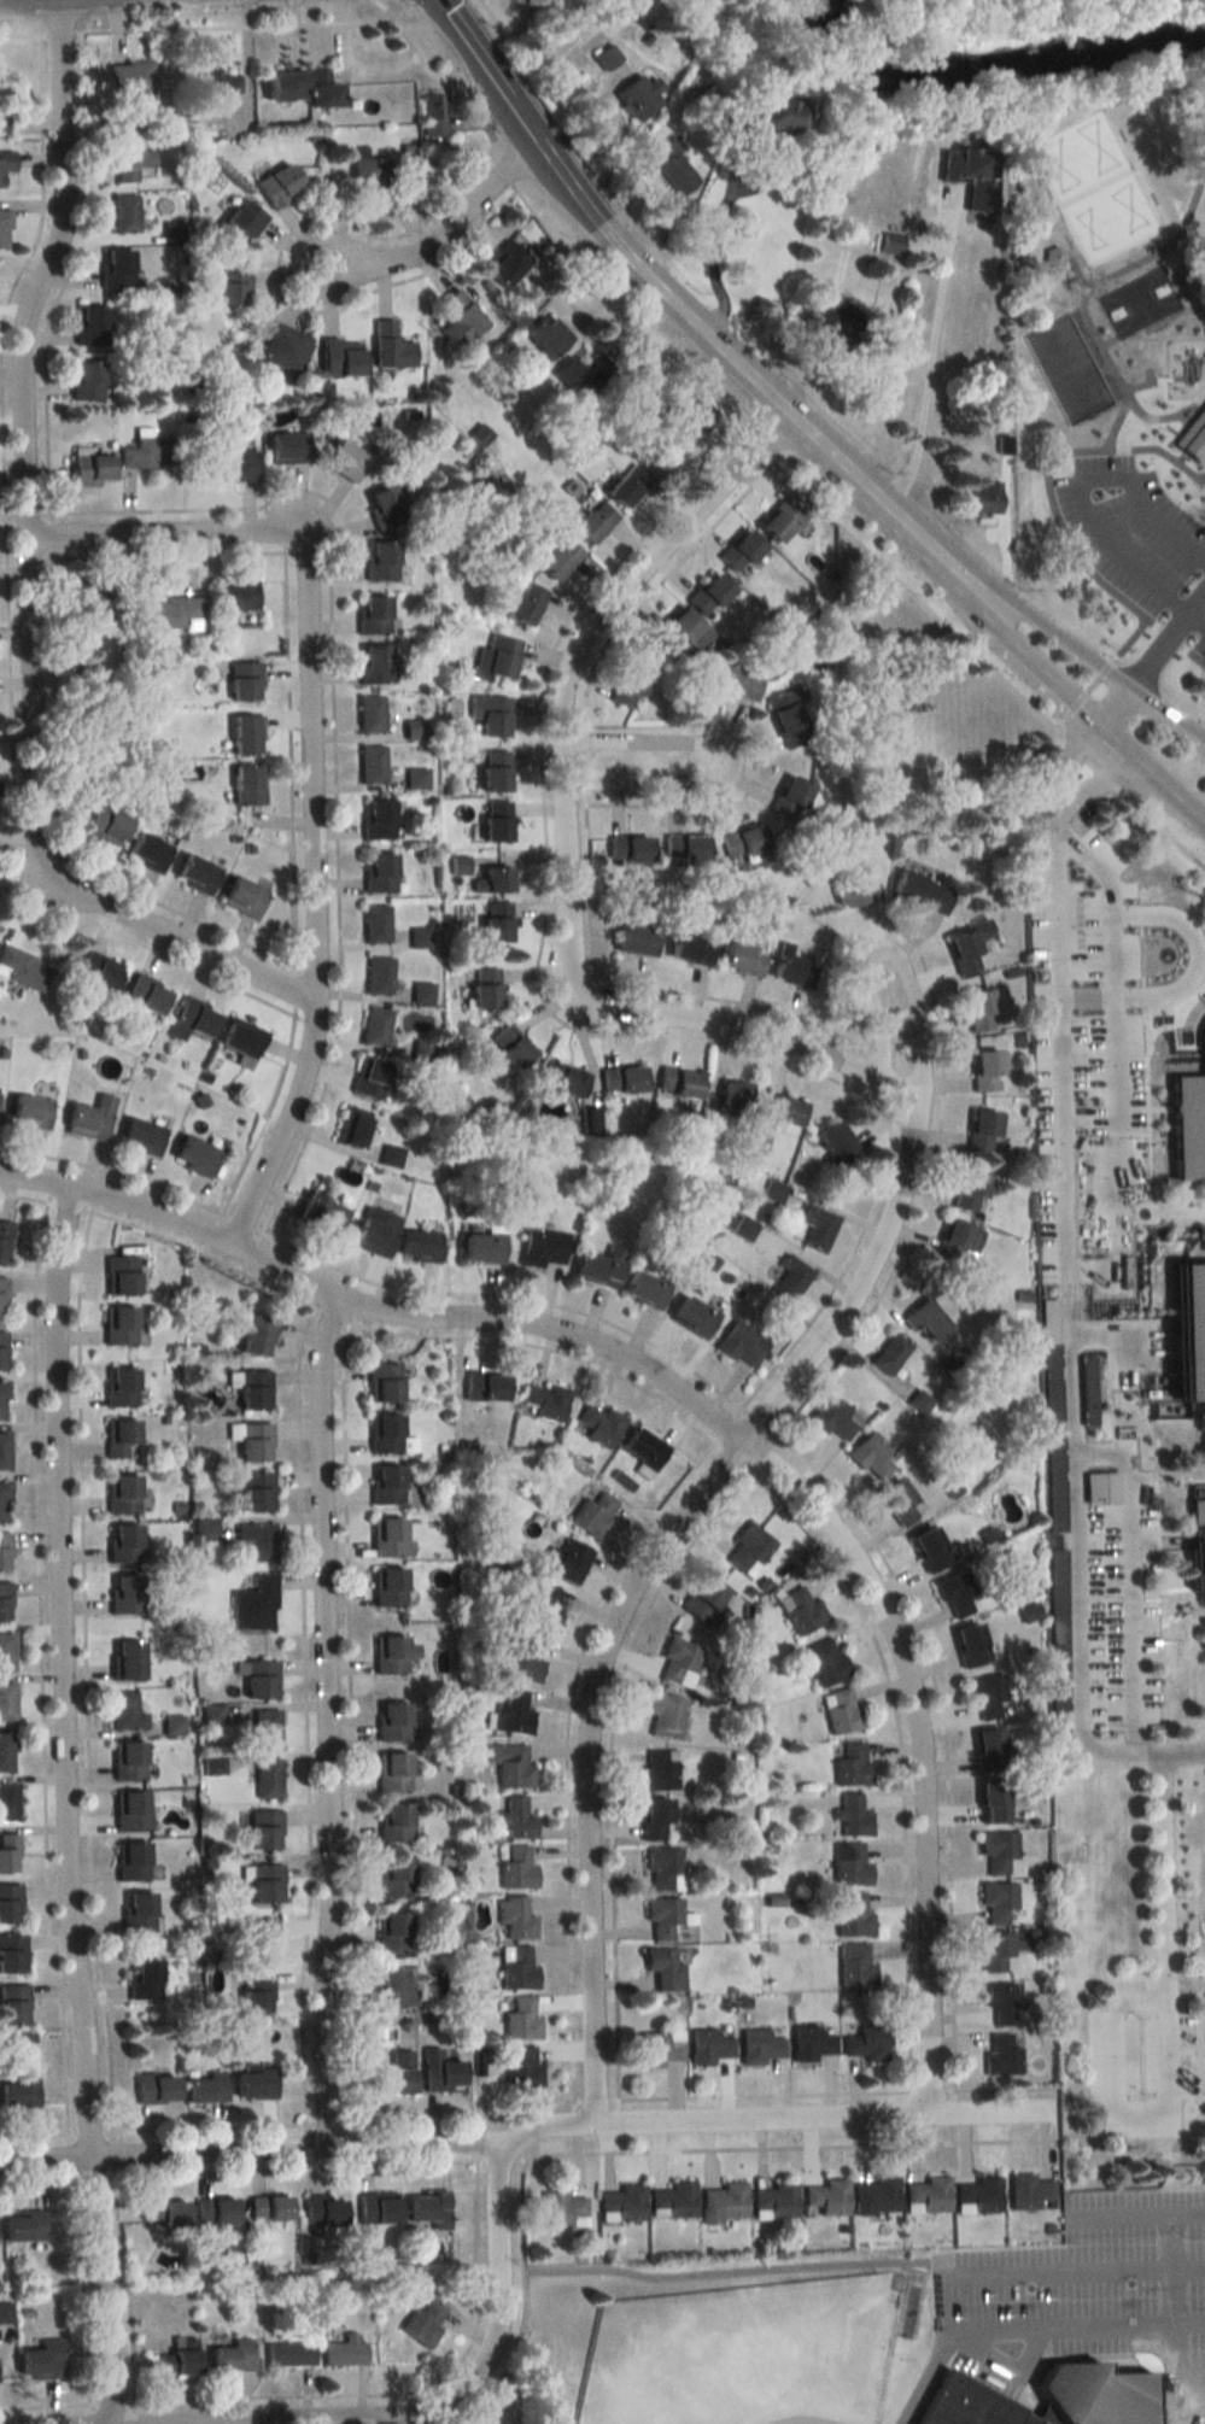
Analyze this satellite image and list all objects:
park: (1006, 17)
road: (327, 21)
road: (60, 33)
road: (19, 35)
building: (597, 52)
river: (993, 72)
building: (128, 78)
building: (218, 83)
building: (283, 86)
building: (321, 89)
building: (636, 95)
building: (185, 111)
building: (777, 115)
building: (433, 116)
building: (2, 127)
road: (545, 148)
building: (1154, 153)
building: (131, 162)
building: (6, 163)
building: (673, 168)
road: (504, 171)
building: (970, 175)
building: (374, 178)
building: (277, 185)
park: (1089, 189)
building: (124, 213)
building: (240, 222)
building: (4, 230)
road: (445, 233)
road: (714, 247)
road: (1164, 250)
building: (1053, 259)
building: (504, 263)
building: (116, 268)
road: (71, 274)
road: (1075, 276)
building: (232, 286)
park: (1136, 304)
building: (460, 318)
road: (1168, 321)
building: (830, 322)
building: (89, 324)
building: (544, 335)
road: (1104, 342)
building: (390, 346)
road: (723, 347)
building: (282, 350)
building: (337, 359)
road: (929, 363)
park: (1113, 369)
road: (1100, 371)
park: (1065, 374)
building: (579, 375)
road: (1109, 375)
building: (86, 381)
road: (1140, 387)
road: (1183, 414)
building: (688, 417)
road: (1152, 421)
building: (1193, 437)
building: (287, 447)
building: (147, 452)
road: (1159, 456)
building: (345, 461)
building: (233, 466)
building: (89, 469)
road: (858, 480)
building: (628, 485)
parking lot: (1201, 485)
road: (1078, 498)
building: (983, 499)
building: (384, 508)
building: (780, 521)
building: (592, 522)
road: (52, 535)
parking lot: (1139, 540)
building: (741, 552)
road: (170, 555)
building: (557, 557)
building: (380, 561)
road: (954, 580)
road: (661, 584)
road: (25, 585)
road: (1107, 591)
road: (914, 593)
building: (235, 595)
building: (709, 595)
building: (92, 599)
building: (526, 603)
building: (170, 613)
building: (372, 615)
road: (10, 625)
building: (684, 634)
road: (1164, 644)
road: (1067, 652)
building: (495, 658)
building: (372, 664)
road: (1100, 673)
road: (1041, 677)
building: (244, 681)
building: (739, 684)
building: (628, 685)
road: (1125, 710)
building: (369, 714)
building: (490, 714)
building: (789, 716)
road: (334, 726)
building: (414, 730)
building: (245, 734)
road: (1084, 754)
road: (292, 759)
road: (732, 760)
road: (1069, 763)
building: (370, 765)
road: (583, 765)
road: (308, 768)
building: (495, 771)
building: (416, 778)
building: (247, 785)
road: (1095, 785)
road: (1156, 787)
building: (789, 798)
building: (376, 819)
building: (496, 821)
road: (1158, 824)
building: (103, 825)
road: (560, 835)
road: (57, 837)
building: (744, 844)
building: (684, 848)
building: (628, 850)
building: (145, 853)
building: (378, 872)
building: (194, 874)
building: (495, 879)
building: (855, 891)
building: (922, 891)
building: (241, 897)
building: (493, 921)
building: (374, 923)
building: (419, 937)
building: (636, 939)
building: (690, 948)
road: (897, 952)
building: (964, 953)
road: (1192, 953)
building: (742, 959)
building: (22, 968)
building: (791, 968)
building: (94, 971)
building: (379, 976)
road: (649, 986)
building: (482, 988)
road: (296, 989)
building: (144, 993)
building: (421, 993)
building: (978, 1011)
building: (189, 1018)
building: (374, 1026)
building: (239, 1037)
building: (1203, 1037)
building: (509, 1046)
parking lot: (1089, 1055)
road: (1121, 1067)
building: (987, 1071)
building: (369, 1078)
building: (560, 1078)
building: (621, 1079)
building: (677, 1082)
building: (732, 1094)
road: (1151, 1097)
building: (27, 1112)
building: (786, 1112)
road: (263, 1114)
building: (87, 1119)
building: (350, 1126)
building: (1189, 1126)
building: (982, 1130)
building: (139, 1136)
building: (836, 1142)
building: (757, 1144)
building: (192, 1155)
road: (112, 1173)
building: (970, 1190)
road: (24, 1198)
road: (69, 1207)
building: (317, 1216)
road: (241, 1223)
building: (817, 1226)
building: (373, 1231)
road: (211, 1235)
building: (4, 1241)
building: (958, 1242)
building: (417, 1246)
building: (481, 1247)
building: (542, 1248)
road: (252, 1253)
road: (201, 1257)
building: (595, 1269)
building: (119, 1275)
building: (790, 1278)
building: (644, 1289)
building: (1, 1296)
road: (510, 1296)
road: (333, 1313)
building: (692, 1316)
building: (925, 1318)
building: (118, 1325)
building: (1192, 1330)
building: (253, 1334)
road: (1112, 1334)
road: (1063, 1342)
building: (739, 1343)
road: (548, 1348)
building: (1, 1349)
building: (888, 1353)
building: (382, 1382)
building: (119, 1387)
building: (485, 1387)
building: (253, 1389)
building: (1, 1400)
building: (543, 1403)
building: (833, 1417)
road: (715, 1422)
road: (762, 1422)
building: (598, 1423)
road: (729, 1425)
building: (382, 1433)
building: (118, 1439)
building: (643, 1447)
building: (4, 1451)
road: (767, 1454)
building: (871, 1456)
road: (733, 1457)
building: (385, 1485)
building: (256, 1492)
building: (121, 1494)
building: (4, 1501)
building: (899, 1503)
building: (593, 1515)
building: (1197, 1532)
building: (386, 1538)
building: (257, 1541)
building: (123, 1544)
building: (930, 1548)
building: (4, 1551)
building: (749, 1551)
building: (565, 1559)
road: (1124, 1574)
road: (636, 1580)
building: (387, 1587)
building: (957, 1593)
building: (124, 1594)
building: (706, 1600)
building: (5, 1602)
building: (545, 1610)
building: (801, 1610)
building: (970, 1645)
building: (6, 1651)
building: (391, 1655)
building: (525, 1658)
building: (125, 1659)
building: (679, 1662)
building: (823, 1662)
road: (42, 1668)
road: (86, 1671)
building: (261, 1679)
building: (987, 1694)
building: (7, 1702)
building: (124, 1711)
building: (841, 1711)
road: (306, 1712)
building: (511, 1714)
building: (665, 1715)
building: (391, 1721)
road: (326, 1725)
building: (264, 1729)
building: (988, 1750)
road: (566, 1751)
building: (6, 1752)
road: (906, 1756)
building: (127, 1761)
building: (852, 1766)
building: (510, 1767)
building: (657, 1769)
building: (391, 1773)
building: (267, 1779)
building: (7, 1803)
building: (992, 1803)
road: (64, 1807)
building: (130, 1811)
building: (850, 1817)
building: (516, 1819)
building: (654, 1820)
building: (394, 1822)
building: (264, 1831)
building: (998, 1851)
building: (8, 1854)
building: (129, 1861)
building: (850, 1864)
building: (516, 1869)
building: (663, 1869)
building: (394, 1876)
building: (264, 1885)
building: (998, 1902)
building: (10, 1903)
building: (135, 1913)
building: (854, 1916)
building: (663, 1917)
building: (515, 1919)
building: (391, 1932)
building: (257, 1938)
building: (999, 1949)
building: (11, 1952)
building: (855, 1966)
building: (517, 1968)
building: (663, 1969)
building: (144, 1979)
building: (390, 1989)
building: (255, 1995)
building: (1001, 2002)
building: (13, 2004)
building: (520, 2019)
road: (1170, 2026)
building: (811, 2043)
building: (866, 2044)
building: (708, 2047)
building: (759, 2047)
building: (660, 2049)
building: (1002, 2055)
building: (521, 2067)
building: (439, 2072)
building: (394, 2074)
building: (253, 2084)
building: (17, 2089)
building: (154, 2089)
building: (204, 2089)
road: (935, 2090)
road: (767, 2094)
road: (597, 2098)
road: (464, 2115)
road: (329, 2123)
road: (210, 2126)
road: (92, 2132)
road: (35, 2136)
road: (476, 2138)
road: (525, 2138)
road: (735, 2148)
road: (115, 2153)
road: (70, 2156)
road: (298, 2168)
road: (95, 2176)
road: (36, 2183)
building: (1029, 2192)
building: (977, 2195)
building: (876, 2196)
building: (928, 2196)
building: (826, 2198)
building: (672, 2201)
building: (774, 2202)
building: (724, 2203)
building: (621, 2205)
building: (268, 2208)
building: (376, 2209)
building: (428, 2209)
building: (563, 2211)
building: (322, 2212)
building: (164, 2213)
building: (215, 2213)
building: (22, 2227)
road: (726, 2274)
parking lot: (1095, 2277)
road: (130, 2288)
road: (82, 2291)
road: (941, 2299)
road: (1175, 2314)
road: (496, 2317)
building: (422, 2323)
building: (343, 2352)
building: (288, 2353)
park: (743, 2354)
road: (1066, 2355)
building: (230, 2356)
road: (511, 2356)
building: (177, 2358)
building: (40, 2360)
road: (408, 2391)
building: (1048, 2396)
road: (115, 2402)
road: (46, 2405)
road: (92, 2413)
road: (138, 2413)
road: (1176, 2423)

